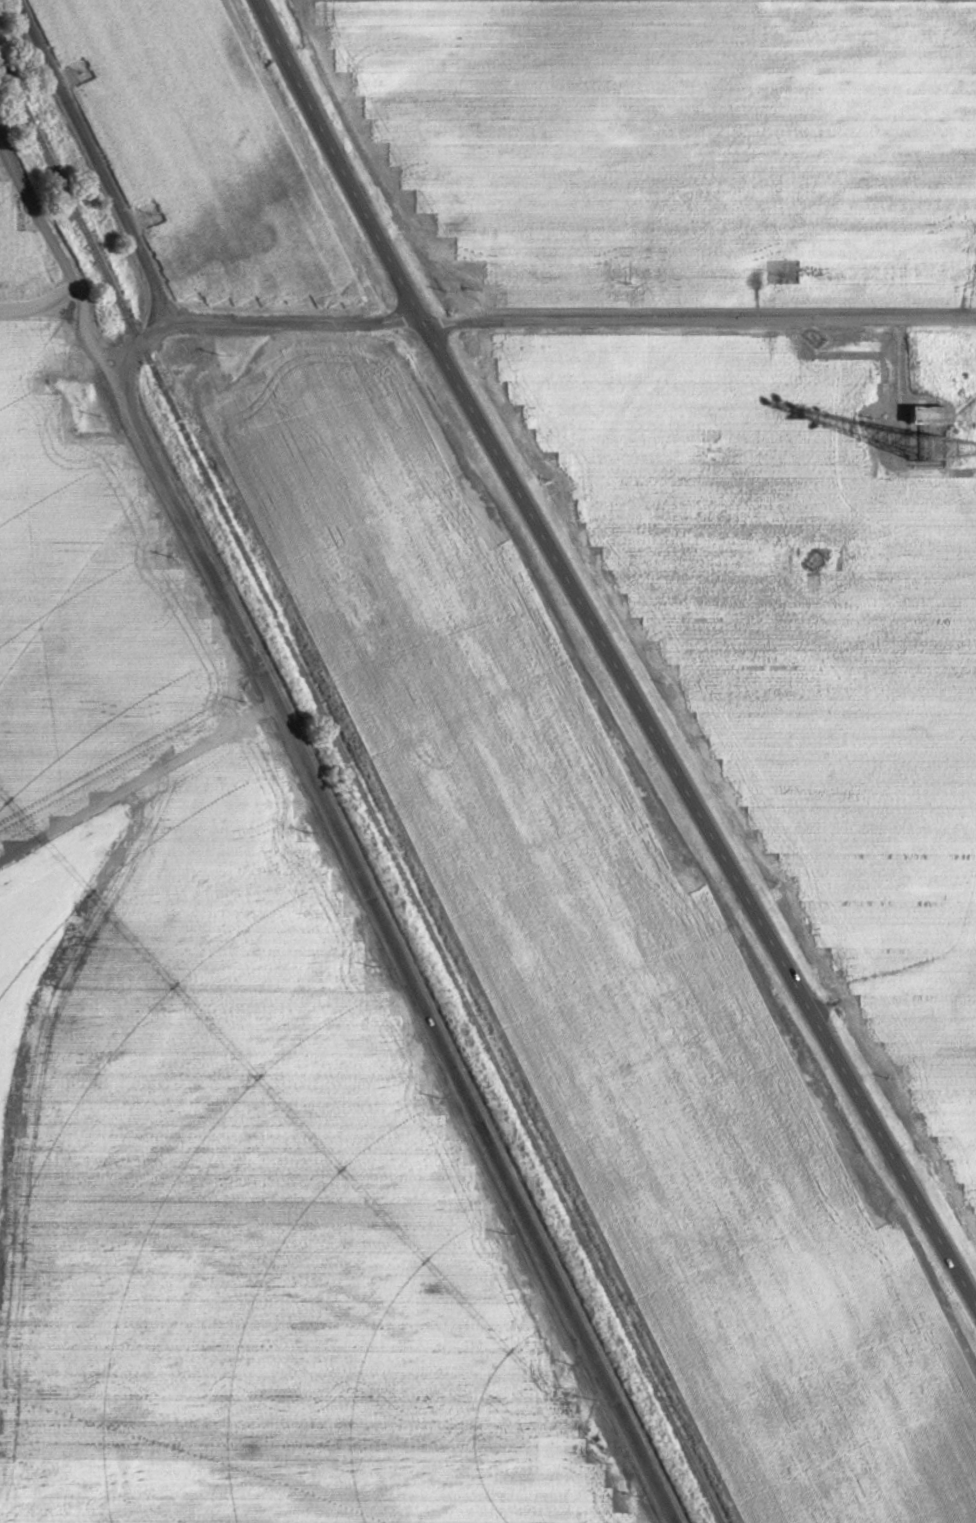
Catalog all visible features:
road: (90, 161)
road: (70, 321)
road: (295, 321)
road: (698, 321)
building: (930, 415)
road: (609, 659)
road: (135, 784)
railway: (361, 792)
road: (373, 917)
road: (48, 962)
building: (893, 1168)

